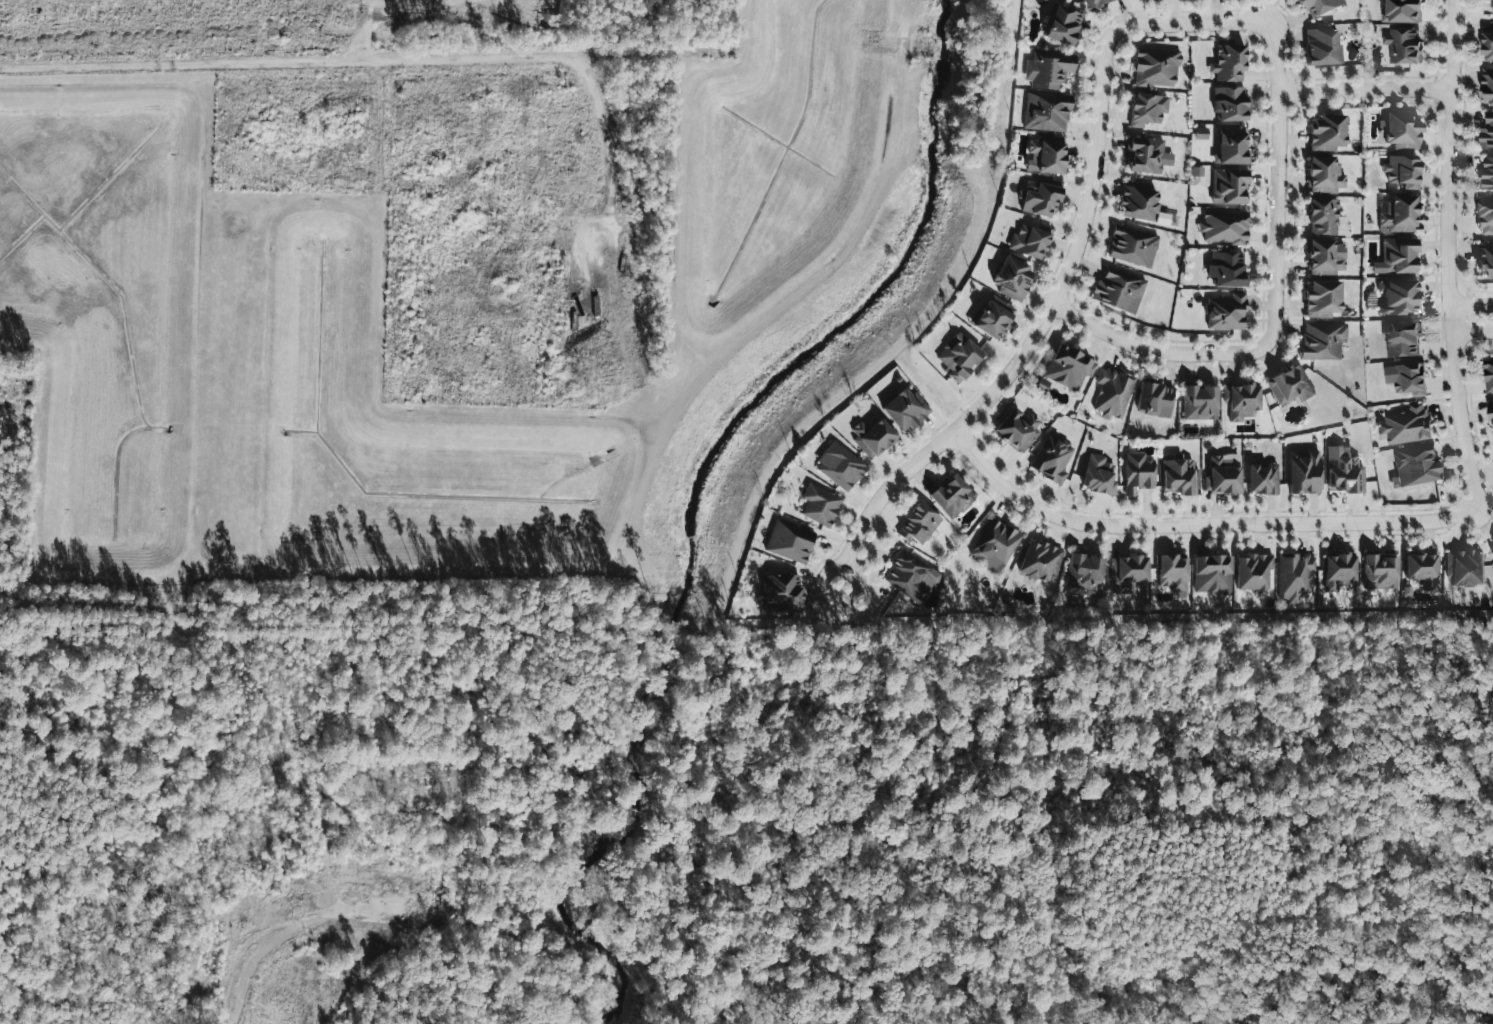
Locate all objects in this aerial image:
building: (1094, 3)
building: (1321, 7)
building: (1401, 11)
road: (1192, 22)
building: (1065, 26)
road: (365, 29)
building: (1323, 46)
building: (1403, 46)
building: (1488, 47)
road: (446, 57)
building: (1229, 62)
building: (1156, 67)
building: (1049, 69)
building: (1487, 84)
road: (1366, 88)
building: (1231, 103)
building: (1147, 109)
building: (1047, 111)
building: (1401, 130)
building: (1487, 131)
building: (1327, 133)
building: (1232, 146)
building: (1047, 155)
building: (1147, 155)
building: (1403, 171)
building: (1487, 173)
building: (1325, 175)
building: (1049, 181)
road: (1279, 184)
building: (1230, 186)
building: (1039, 199)
building: (1138, 203)
building: (1400, 213)
building: (1485, 216)
building: (1326, 217)
building: (1163, 218)
building: (1224, 227)
building: (1030, 240)
building: (1132, 246)
building: (1399, 255)
road: (1449, 255)
building: (1326, 257)
building: (1485, 258)
building: (1227, 269)
building: (1012, 278)
building: (1119, 290)
building: (1399, 296)
road: (624, 298)
building: (1323, 298)
road: (1471, 303)
building: (1226, 312)
road: (611, 327)
road: (1040, 328)
road: (1472, 330)
building: (1403, 339)
building: (1323, 340)
road: (1155, 349)
building: (959, 357)
building: (1069, 367)
building: (1488, 376)
building: (1407, 378)
building: (1290, 385)
building: (1113, 392)
building: (1155, 399)
building: (1243, 401)
building: (1200, 402)
building: (1492, 408)
building: (905, 409)
building: (1407, 425)
building: (1018, 429)
building: (873, 436)
building: (1052, 458)
building: (1416, 465)
building: (840, 466)
building: (1343, 470)
building: (1304, 471)
building: (1138, 472)
building: (1099, 474)
building: (1180, 476)
building: (1263, 478)
building: (952, 496)
building: (820, 504)
building: (919, 523)
road: (1199, 523)
building: (789, 541)
building: (994, 545)
building: (1492, 548)
building: (1040, 561)
building: (1465, 567)
building: (1423, 569)
road: (828, 570)
building: (1339, 570)
building: (1253, 571)
building: (1380, 571)
building: (1085, 572)
building: (1127, 572)
building: (1173, 573)
building: (1212, 574)
building: (1295, 575)
building: (911, 576)
building: (782, 591)
road: (238, 914)
road: (272, 946)

